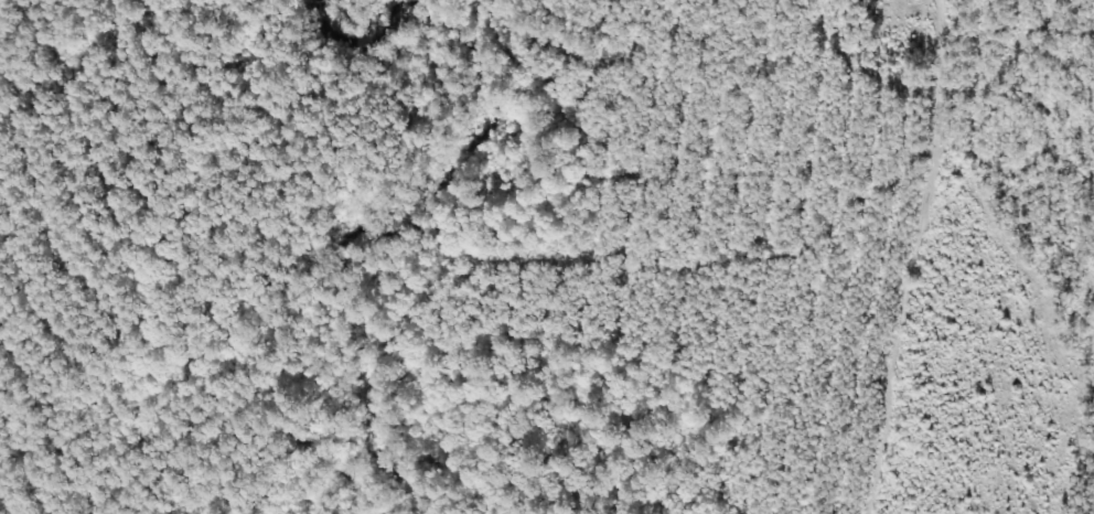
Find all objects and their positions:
road: (1080, 6)

